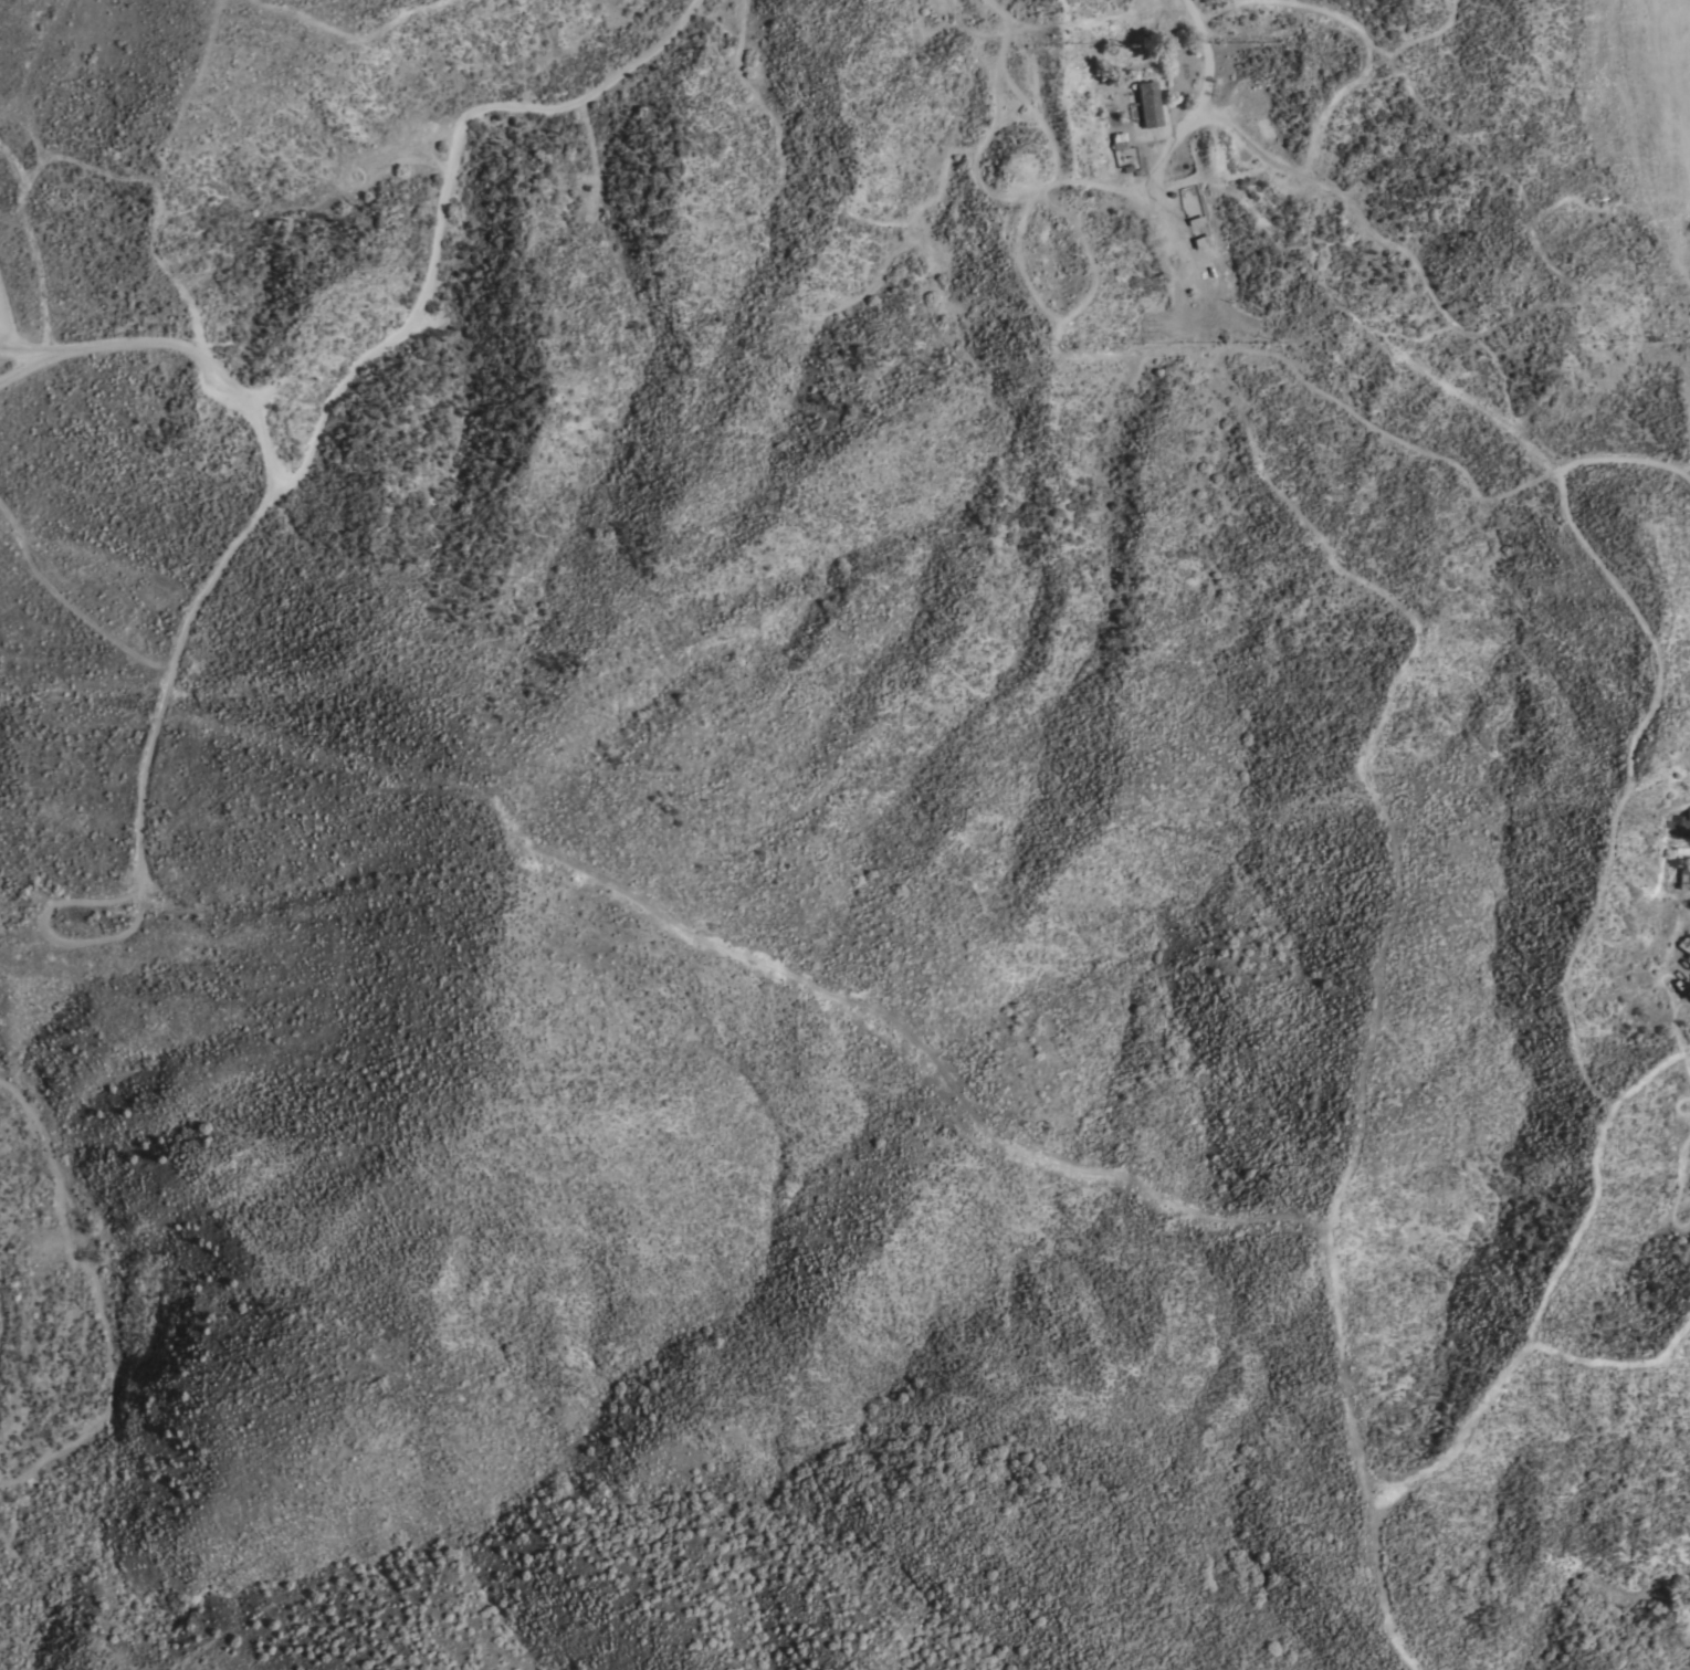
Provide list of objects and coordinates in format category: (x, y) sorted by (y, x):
road: (36, 60)
building: (1148, 104)
road: (1631, 125)
building: (1263, 136)
road: (1171, 144)
road: (1320, 180)
road: (1678, 242)
building: (1216, 270)
road: (43, 295)
road: (2, 340)
road: (180, 346)
road: (346, 380)
road: (1688, 417)
road: (1624, 460)
road: (1558, 482)
road: (1659, 689)
building: (1680, 826)
building: (1684, 876)
road: (49, 932)
road: (24, 1101)

